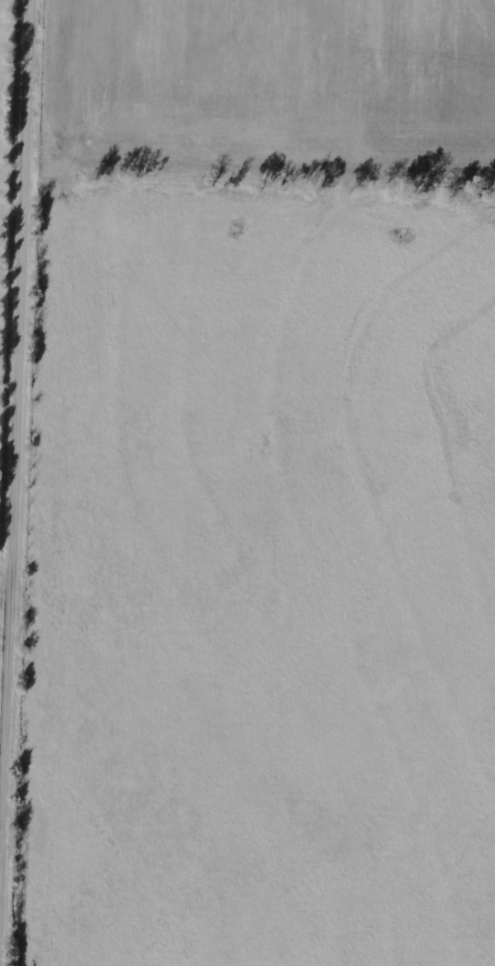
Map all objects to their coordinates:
road: (21, 482)
road: (327, 837)

